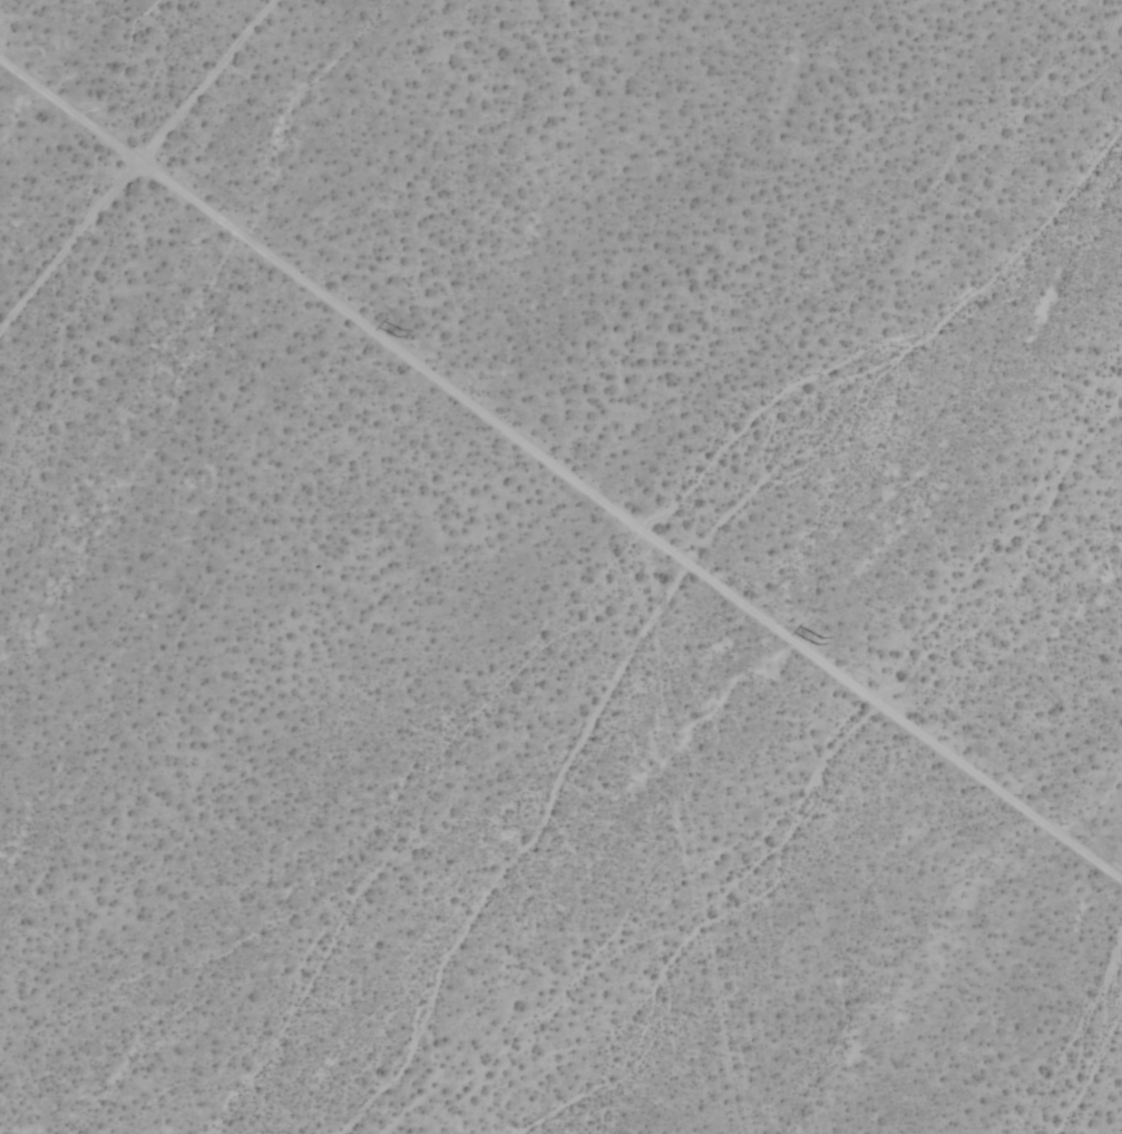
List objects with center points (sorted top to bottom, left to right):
road: (68, 114)
power tower: (396, 334)
road: (628, 522)
power tower: (820, 644)

